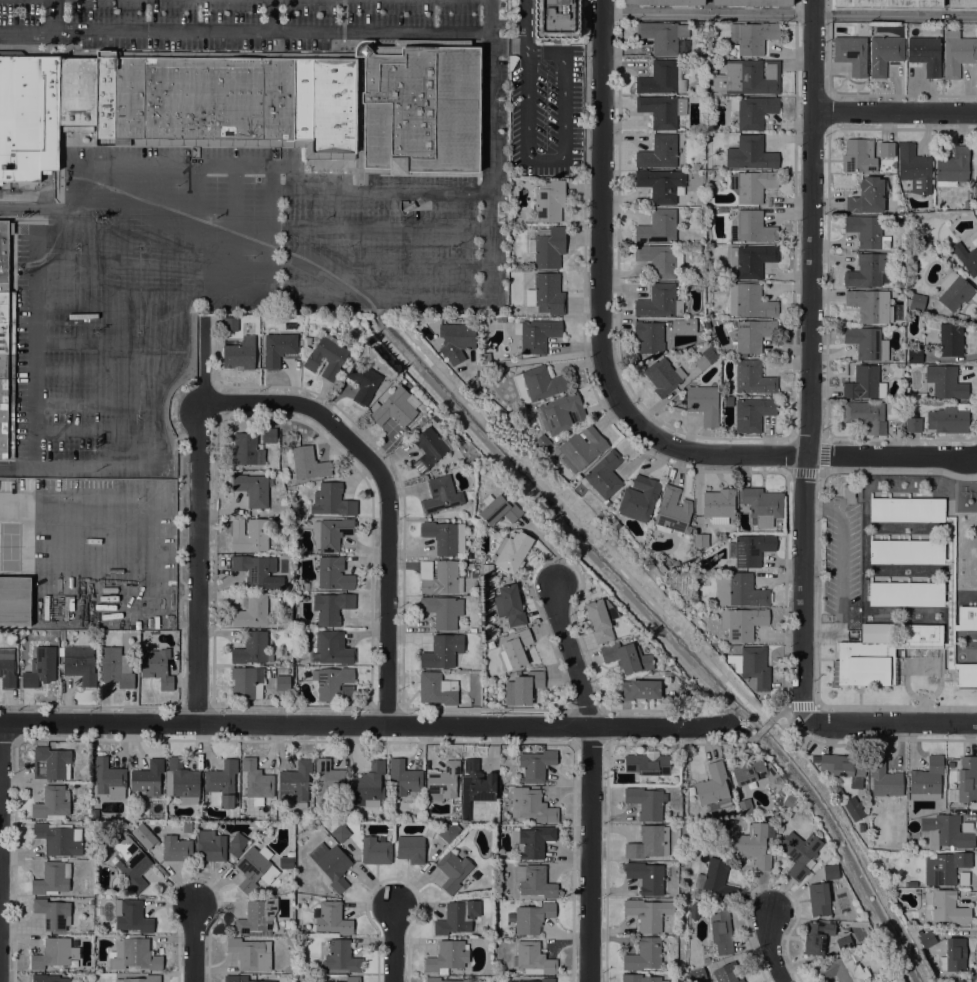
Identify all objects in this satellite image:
building: (666, 2)
building: (752, 3)
building: (889, 3)
building: (962, 3)
road: (788, 13)
road: (52, 16)
road: (272, 16)
building: (556, 18)
road: (244, 32)
building: (662, 36)
building: (753, 36)
building: (884, 53)
building: (958, 53)
building: (851, 54)
building: (925, 54)
building: (748, 77)
building: (662, 78)
building: (77, 94)
building: (238, 103)
building: (420, 105)
building: (662, 110)
parking lot: (547, 111)
building: (753, 111)
road: (895, 111)
building: (106, 114)
building: (28, 116)
road: (490, 149)
building: (886, 149)
building: (659, 152)
building: (750, 153)
building: (859, 155)
road: (542, 158)
road: (167, 165)
building: (915, 167)
building: (952, 167)
building: (974, 169)
parking lot: (233, 182)
building: (662, 184)
building: (751, 185)
road: (380, 191)
building: (868, 195)
road: (79, 198)
building: (549, 201)
building: (967, 204)
road: (39, 206)
building: (900, 209)
building: (722, 210)
road: (600, 216)
road: (380, 226)
road: (196, 227)
building: (660, 227)
building: (751, 227)
building: (10, 228)
road: (234, 228)
road: (811, 228)
building: (865, 230)
road: (76, 232)
road: (157, 232)
road: (271, 232)
road: (119, 234)
building: (547, 247)
building: (967, 254)
building: (3, 255)
building: (659, 259)
building: (750, 260)
road: (380, 263)
road: (76, 269)
building: (868, 271)
building: (954, 290)
building: (546, 294)
road: (336, 299)
building: (659, 301)
building: (749, 301)
building: (917, 301)
road: (109, 304)
building: (871, 305)
building: (7, 322)
building: (230, 324)
building: (689, 325)
building: (536, 334)
building: (750, 334)
building: (650, 336)
building: (947, 337)
building: (308, 340)
building: (456, 340)
road: (107, 342)
building: (867, 343)
road: (33, 348)
building: (278, 348)
building: (240, 353)
building: (915, 355)
building: (326, 356)
building: (705, 358)
road: (532, 359)
building: (7, 366)
road: (103, 369)
building: (663, 376)
building: (753, 377)
building: (364, 381)
building: (945, 382)
building: (865, 383)
building: (538, 384)
building: (6, 391)
building: (728, 401)
building: (703, 403)
road: (93, 405)
building: (395, 407)
building: (560, 413)
building: (752, 413)
building: (865, 415)
building: (949, 419)
building: (913, 424)
building: (6, 430)
road: (94, 430)
building: (269, 435)
road: (158, 437)
building: (542, 440)
building: (581, 448)
building: (247, 449)
building: (429, 449)
road: (717, 453)
road: (891, 456)
building: (308, 463)
road: (16, 466)
building: (603, 475)
building: (252, 489)
building: (848, 490)
road: (389, 493)
building: (440, 495)
building: (639, 498)
building: (332, 500)
building: (607, 503)
road: (825, 504)
building: (718, 505)
building: (762, 505)
building: (907, 509)
building: (499, 510)
building: (673, 512)
road: (577, 513)
road: (551, 521)
building: (613, 524)
building: (470, 527)
building: (331, 533)
building: (249, 534)
building: (445, 536)
building: (700, 540)
building: (750, 549)
building: (512, 551)
building: (906, 551)
road: (198, 563)
building: (660, 567)
building: (487, 568)
road: (842, 568)
building: (255, 569)
building: (333, 574)
building: (440, 577)
building: (303, 585)
road: (803, 586)
building: (739, 590)
building: (906, 593)
building: (950, 594)
building: (285, 597)
building: (15, 601)
building: (510, 605)
building: (330, 607)
building: (443, 610)
building: (253, 611)
building: (967, 618)
building: (601, 619)
building: (742, 623)
building: (472, 629)
road: (822, 629)
building: (923, 636)
building: (61, 637)
building: (639, 638)
building: (899, 645)
building: (252, 648)
building: (331, 649)
building: (515, 649)
building: (442, 651)
road: (572, 655)
building: (626, 657)
building: (867, 658)
building: (733, 661)
building: (79, 663)
building: (40, 667)
building: (116, 667)
building: (157, 667)
building: (753, 667)
building: (7, 668)
building: (301, 672)
building: (668, 674)
building: (967, 676)
building: (282, 680)
building: (247, 682)
building: (334, 683)
building: (523, 687)
building: (437, 688)
building: (638, 689)
building: (679, 691)
building: (693, 691)
road: (802, 705)
road: (780, 711)
road: (769, 716)
road: (890, 723)
road: (294, 724)
road: (662, 726)
road: (762, 727)
road: (743, 729)
road: (754, 738)
building: (51, 763)
building: (648, 763)
building: (536, 764)
building: (843, 765)
building: (753, 771)
building: (109, 778)
building: (148, 778)
building: (331, 778)
building: (403, 778)
building: (884, 778)
building: (927, 779)
building: (967, 779)
building: (181, 780)
building: (256, 781)
building: (478, 781)
building: (780, 781)
building: (442, 782)
building: (222, 784)
building: (295, 784)
building: (712, 784)
building: (368, 785)
building: (691, 790)
building: (789, 800)
building: (52, 802)
building: (645, 802)
building: (532, 805)
building: (745, 807)
building: (854, 808)
building: (187, 827)
building: (861, 827)
building: (948, 830)
building: (140, 831)
building: (428, 831)
building: (449, 831)
building: (340, 832)
building: (59, 838)
building: (533, 841)
building: (236, 843)
building: (646, 843)
building: (753, 843)
building: (211, 845)
building: (176, 848)
building: (411, 848)
building: (376, 850)
building: (800, 853)
road: (590, 854)
road: (838, 856)
building: (286, 861)
building: (131, 862)
building: (331, 864)
building: (945, 867)
building: (254, 869)
building: (453, 870)
building: (831, 872)
building: (647, 877)
building: (52, 878)
building: (963, 878)
building: (717, 879)
building: (534, 881)
building: (819, 899)
building: (944, 907)
building: (694, 911)
building: (53, 913)
building: (648, 913)
building: (131, 915)
building: (457, 917)
building: (257, 918)
building: (331, 918)
building: (531, 918)
building: (303, 929)
building: (721, 930)
building: (817, 936)
building: (927, 939)
road: (192, 943)
building: (844, 943)
road: (394, 944)
road: (768, 946)
building: (54, 953)
building: (134, 954)
building: (250, 954)
building: (447, 955)
building: (643, 955)
building: (954, 955)
building: (341, 958)
building: (534, 959)
building: (706, 960)
building: (841, 969)
building: (727, 973)
building: (696, 975)
building: (48, 978)
building: (239, 978)
building: (640, 978)
building: (141, 979)
building: (348, 979)
building: (433, 979)
building: (547, 979)
building: (959, 980)

